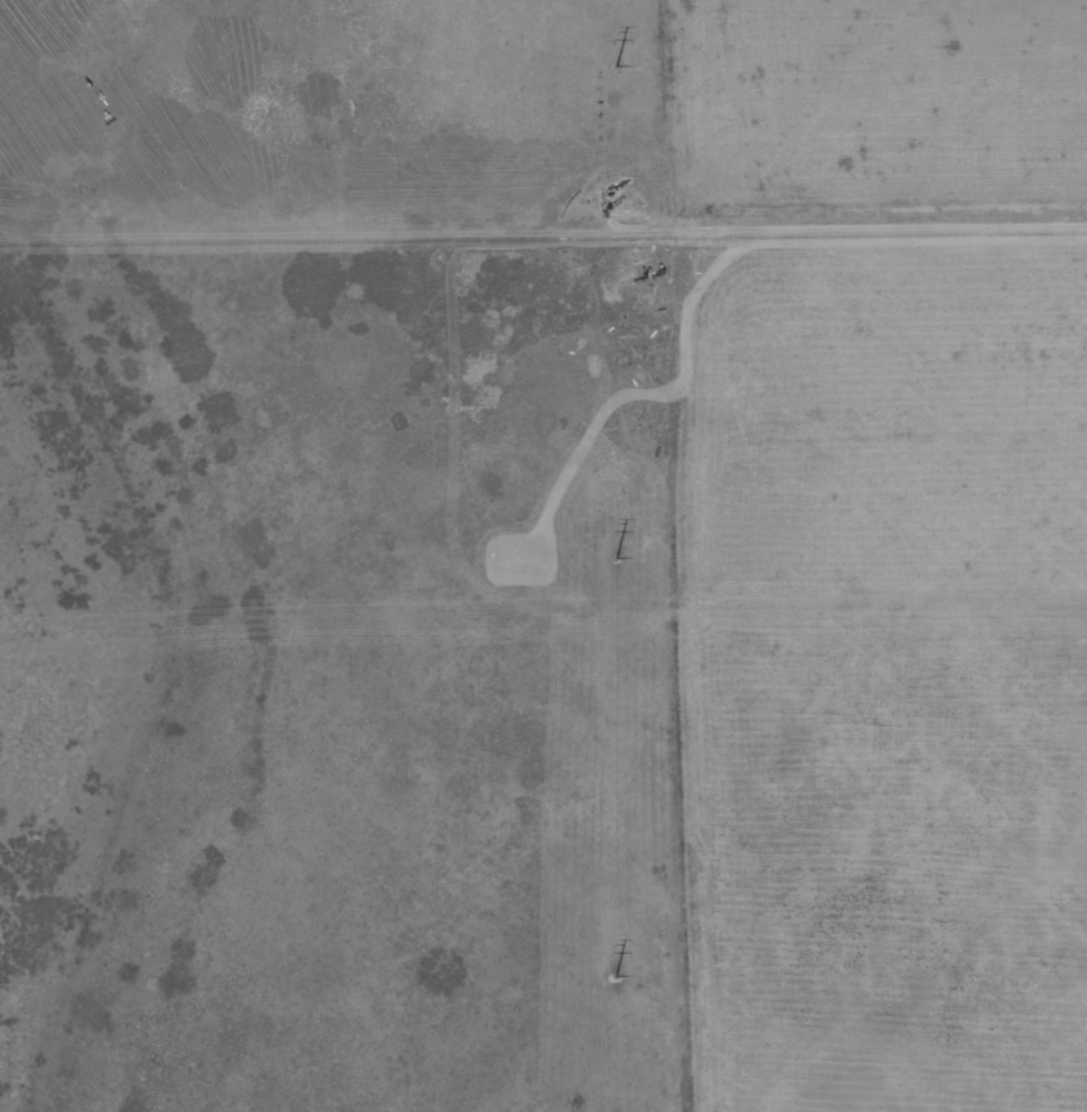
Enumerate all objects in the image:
power tower: (616, 67)
power tower: (617, 555)
power tower: (616, 976)

